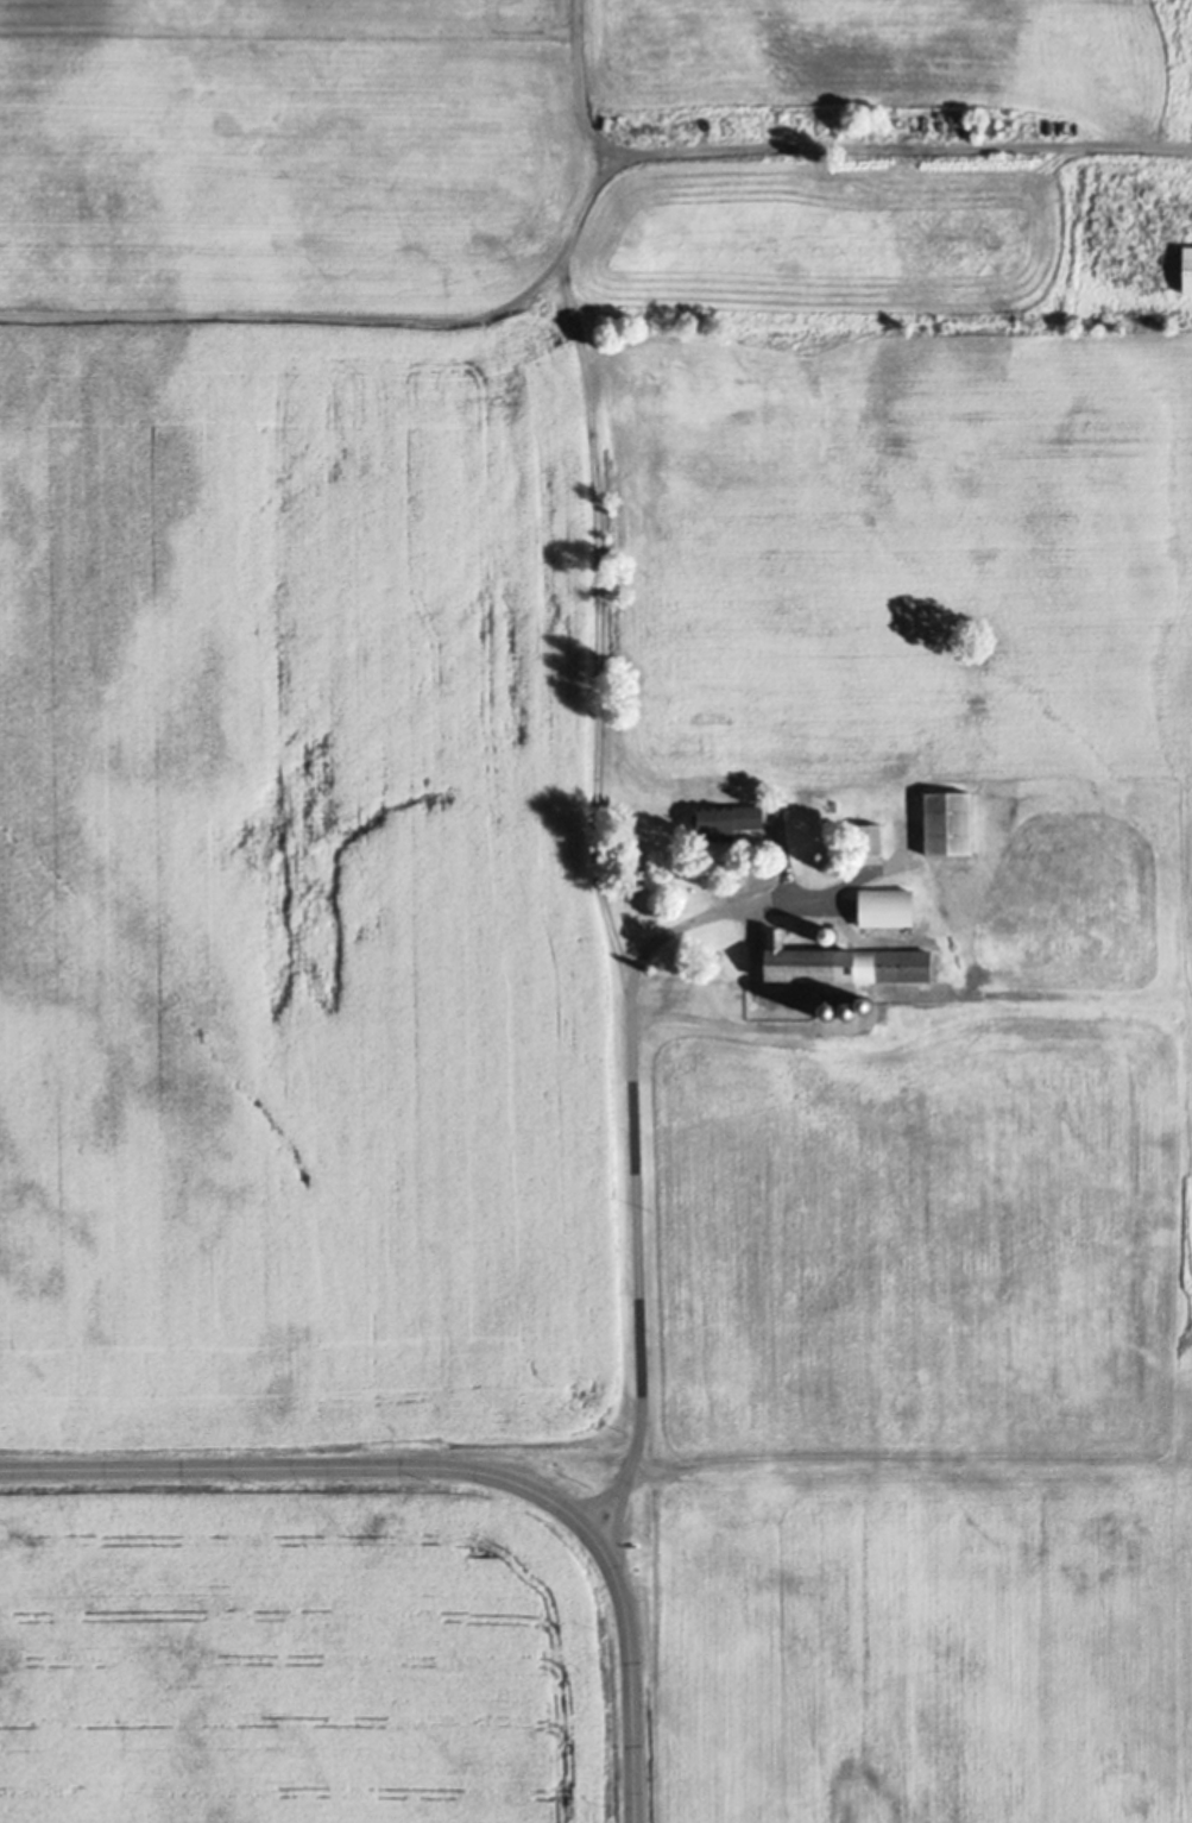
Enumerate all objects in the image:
road: (906, 145)
building: (1190, 270)
road: (591, 472)
building: (736, 818)
building: (952, 823)
building: (891, 909)
building: (846, 963)
road: (633, 1176)
road: (453, 1466)

